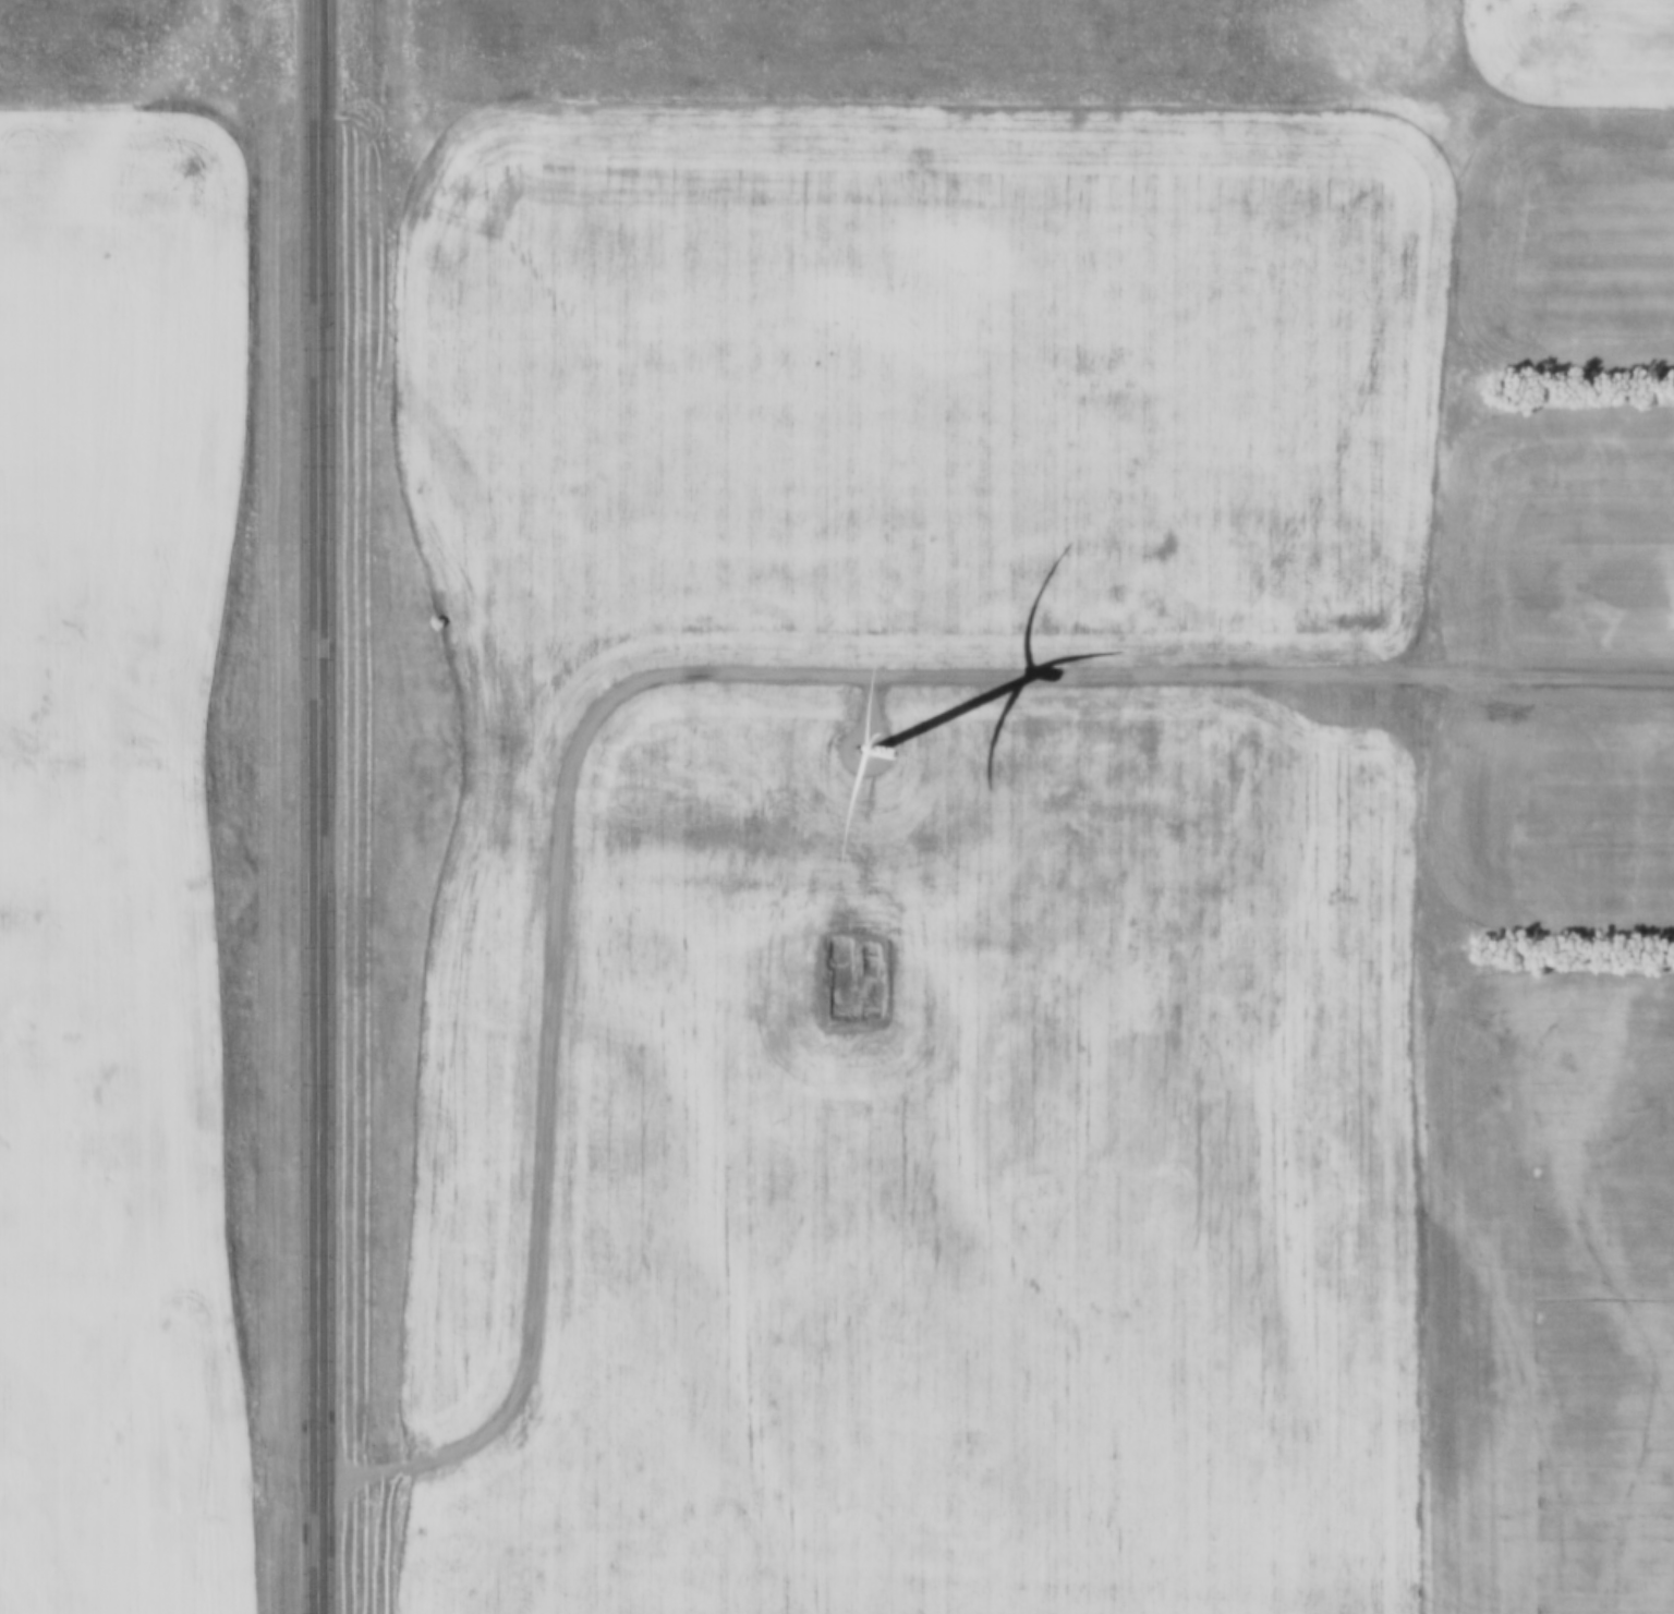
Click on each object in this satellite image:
road: (669, 672)
wind turbine: (871, 753)
road: (318, 806)

